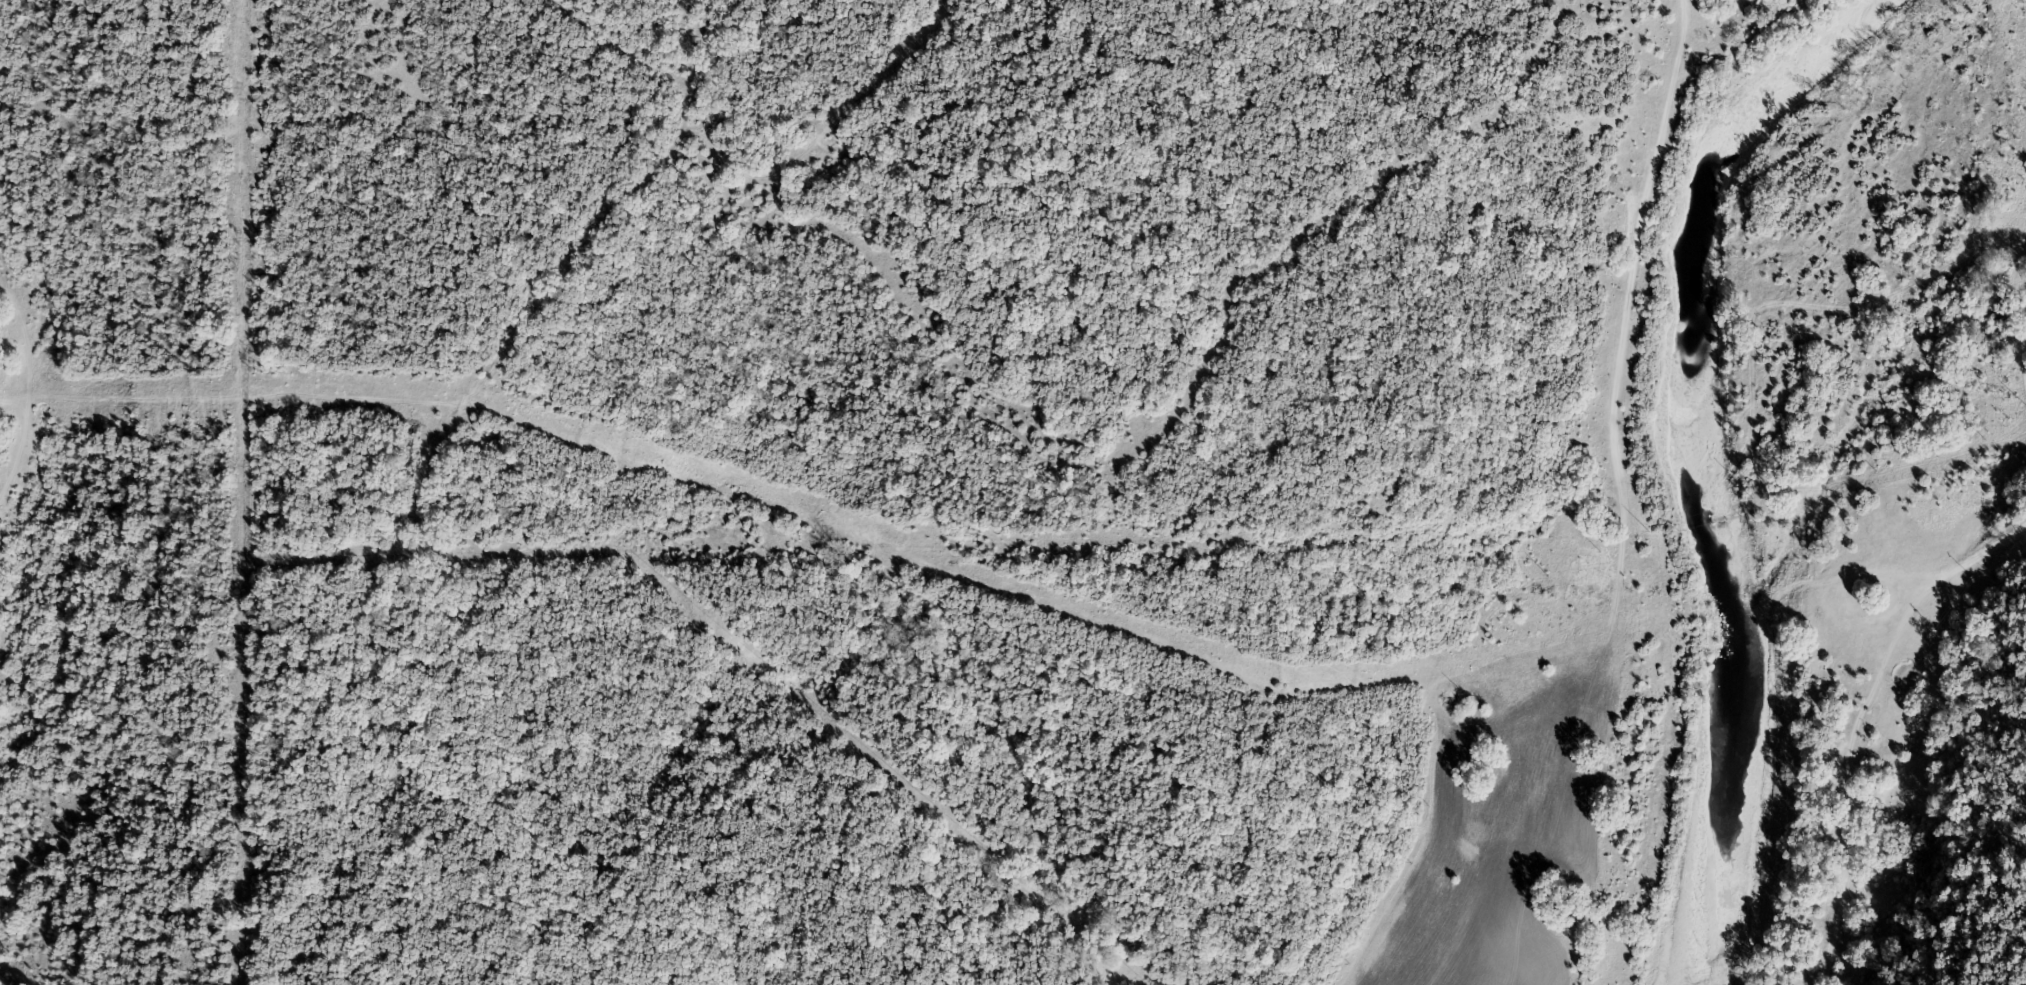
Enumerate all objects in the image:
river: (1668, 452)

